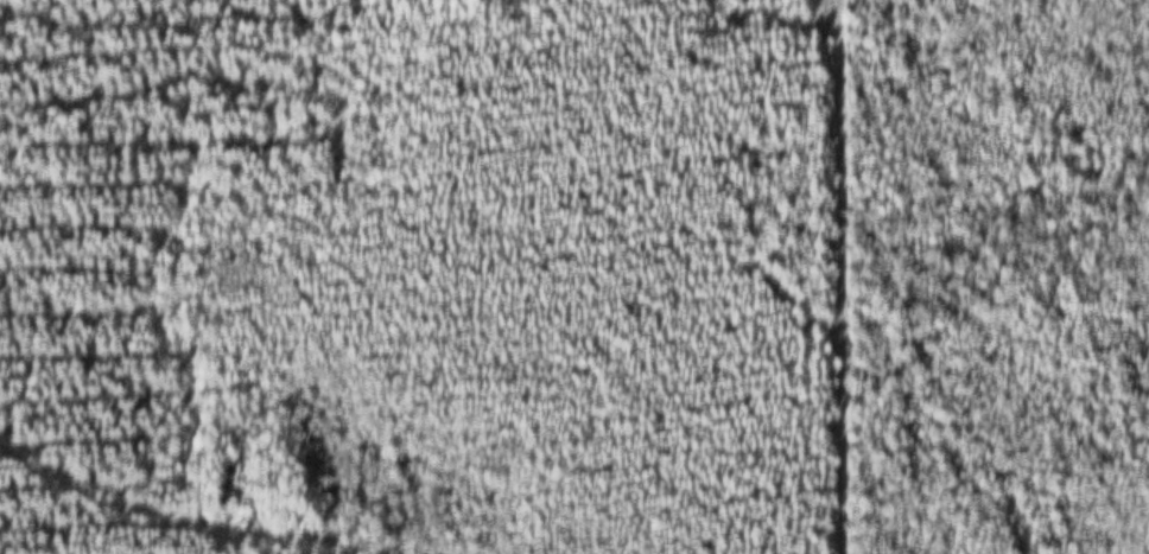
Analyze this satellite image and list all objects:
road: (829, 276)
road: (141, 518)

